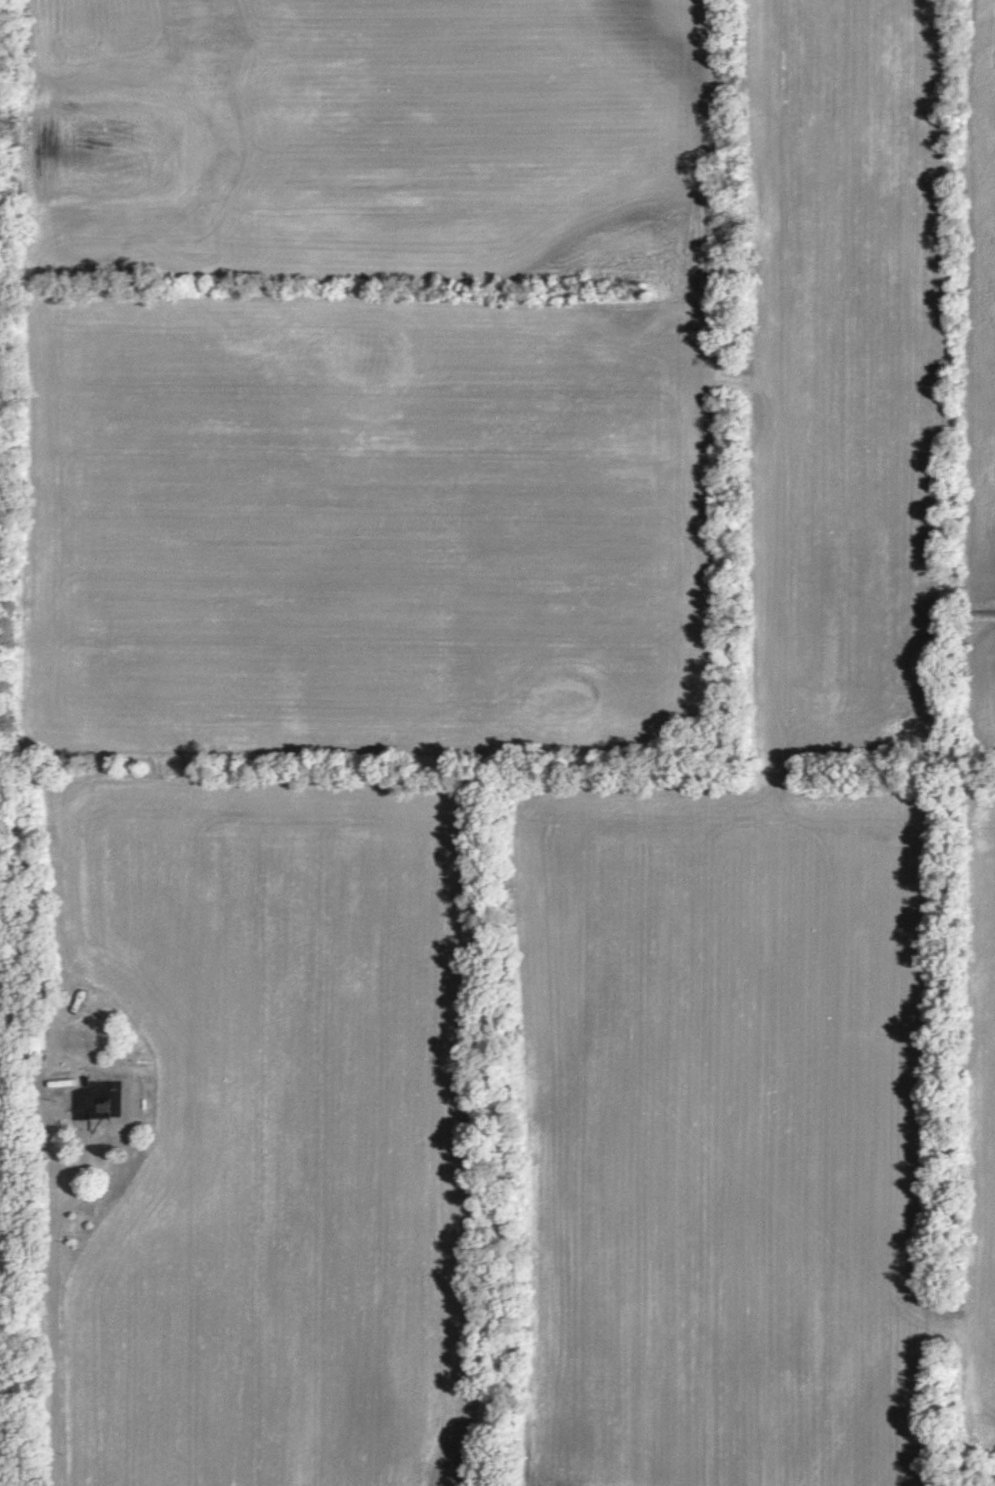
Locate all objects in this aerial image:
building: (31, 1043)
road: (53, 1312)

